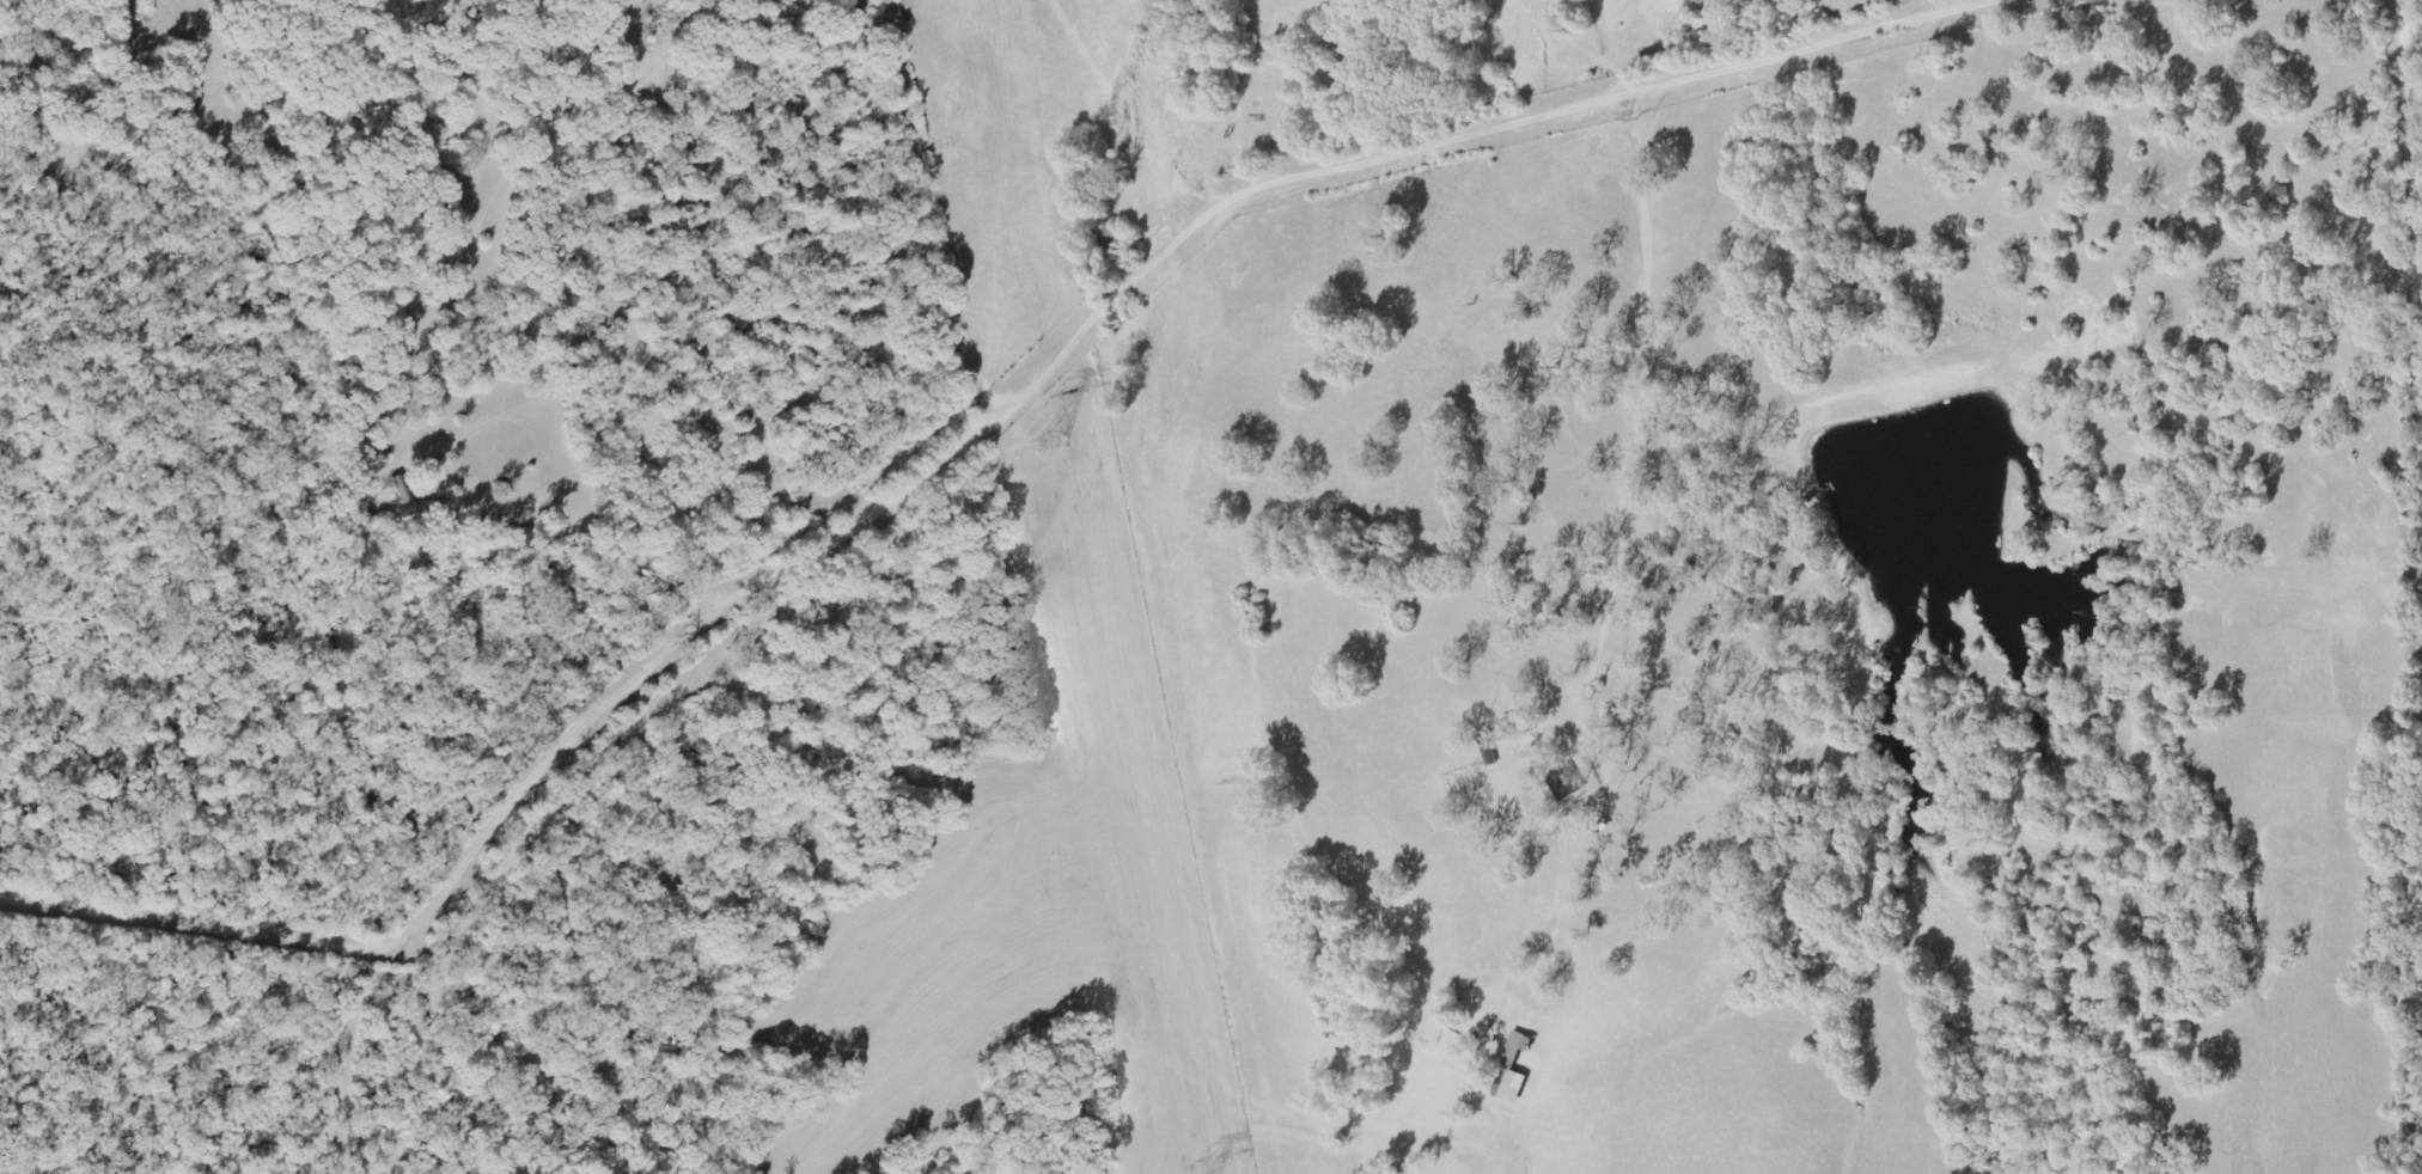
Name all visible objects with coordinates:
road: (2409, 158)
power tower: (1050, 446)
road: (2240, 483)
road: (483, 1051)
building: (1512, 1072)
road: (2284, 1125)

